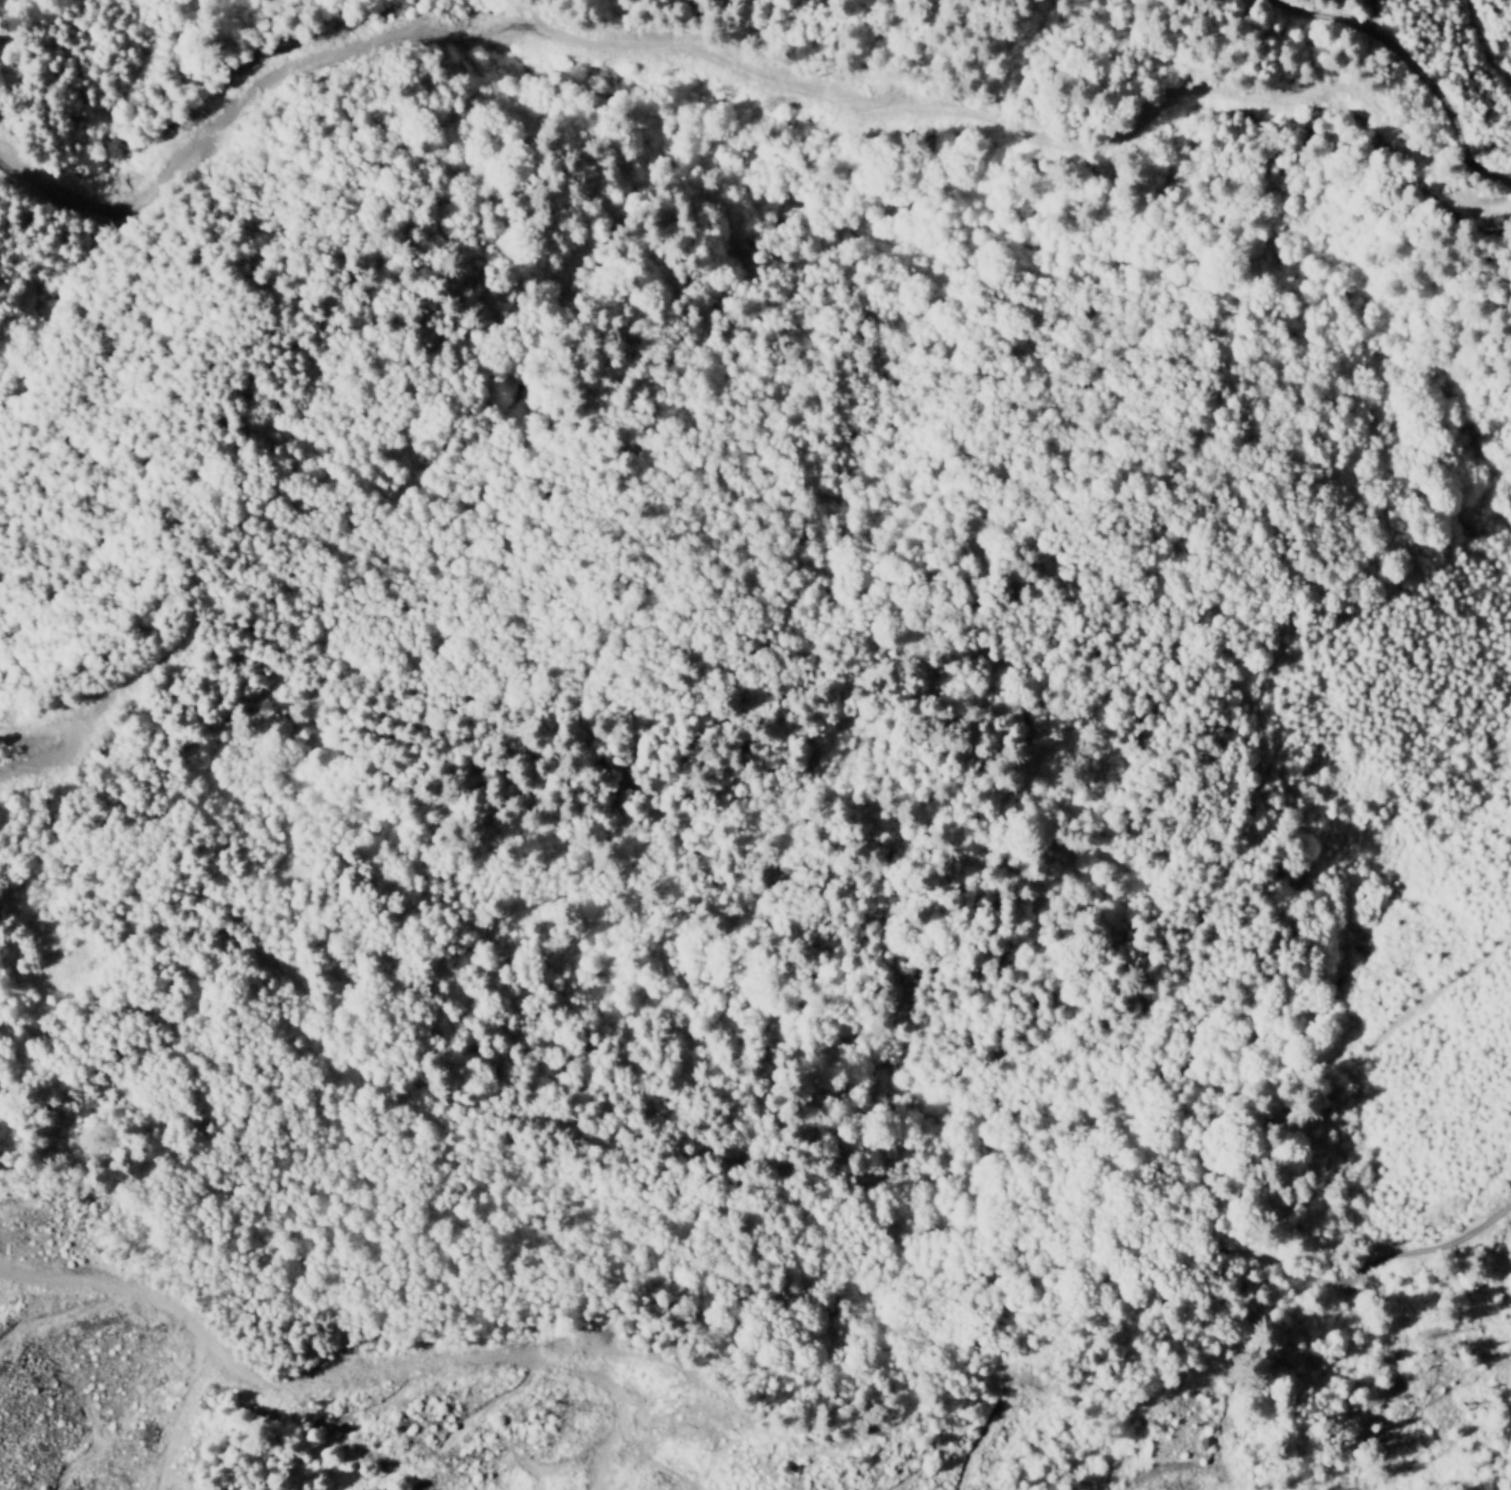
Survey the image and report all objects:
road: (1439, 98)
road: (1416, 1250)

